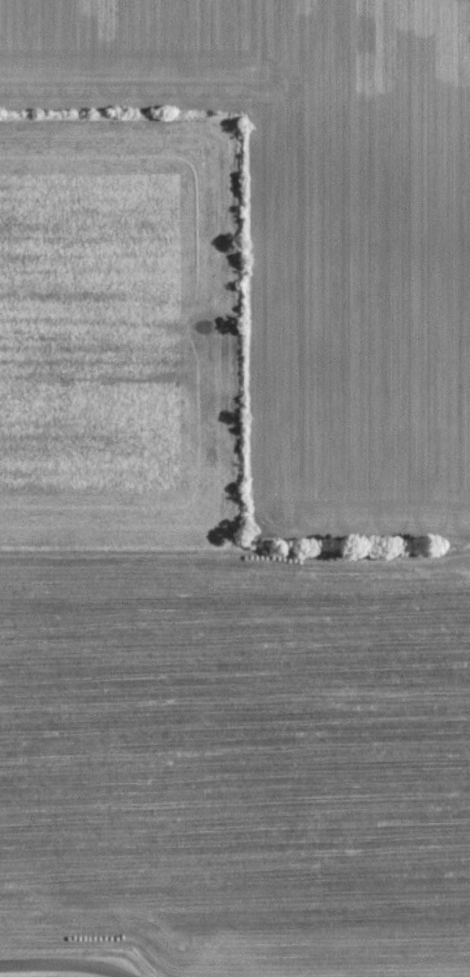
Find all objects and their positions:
road: (65, 965)

